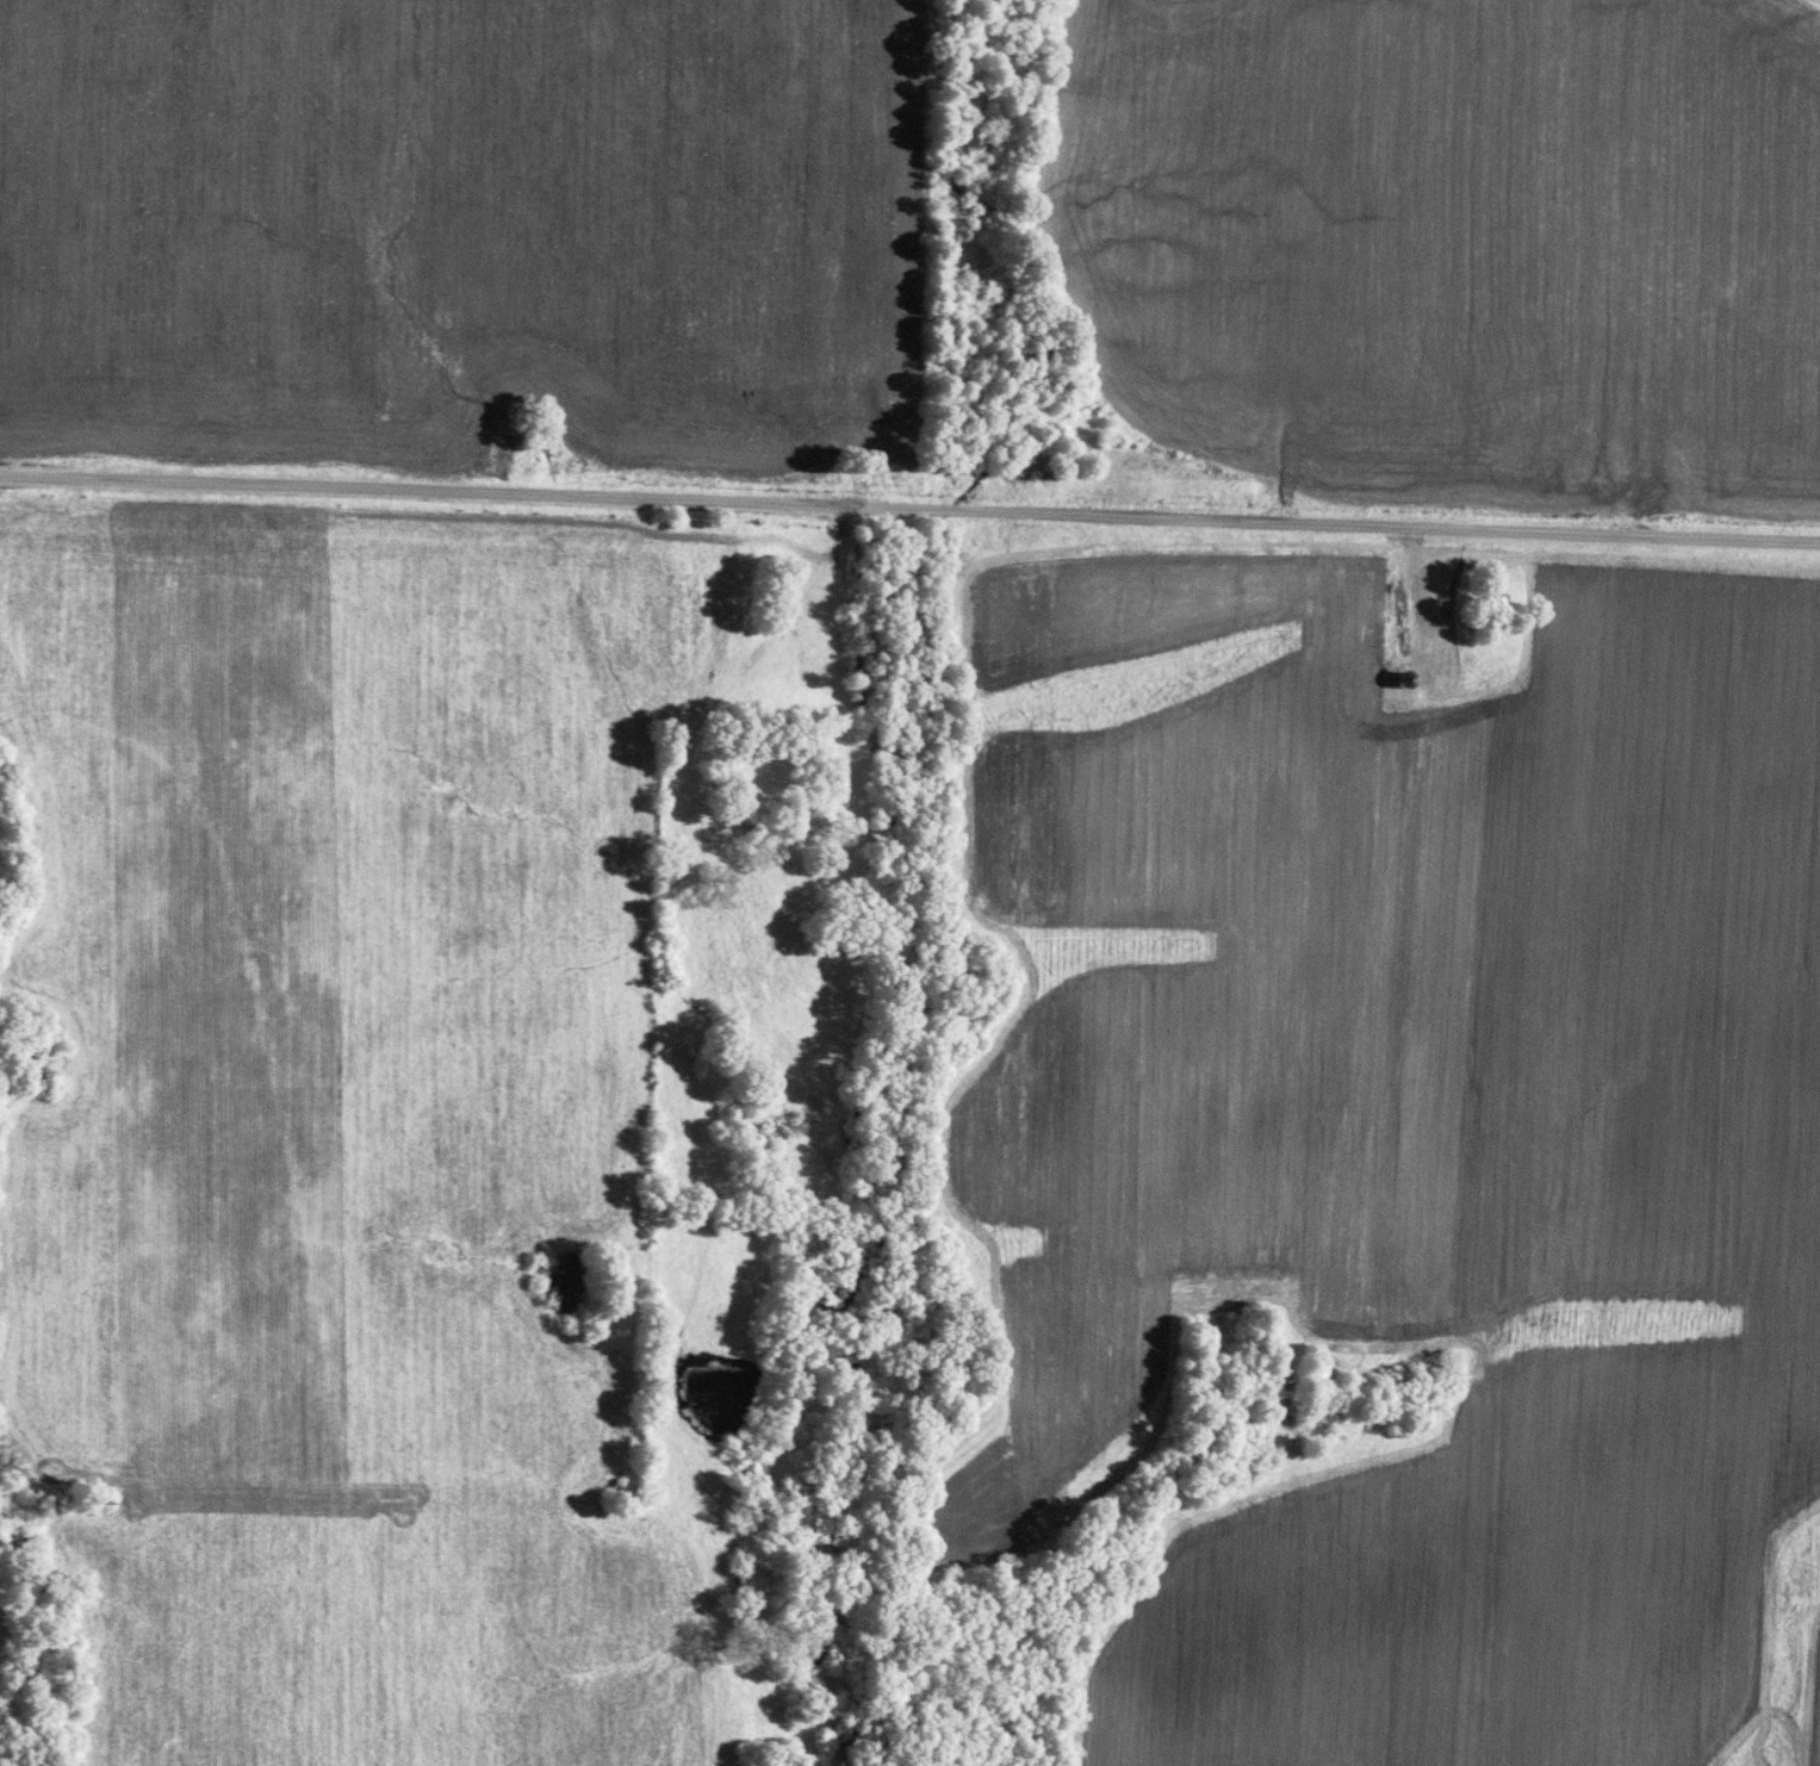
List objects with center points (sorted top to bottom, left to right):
road: (909, 509)

